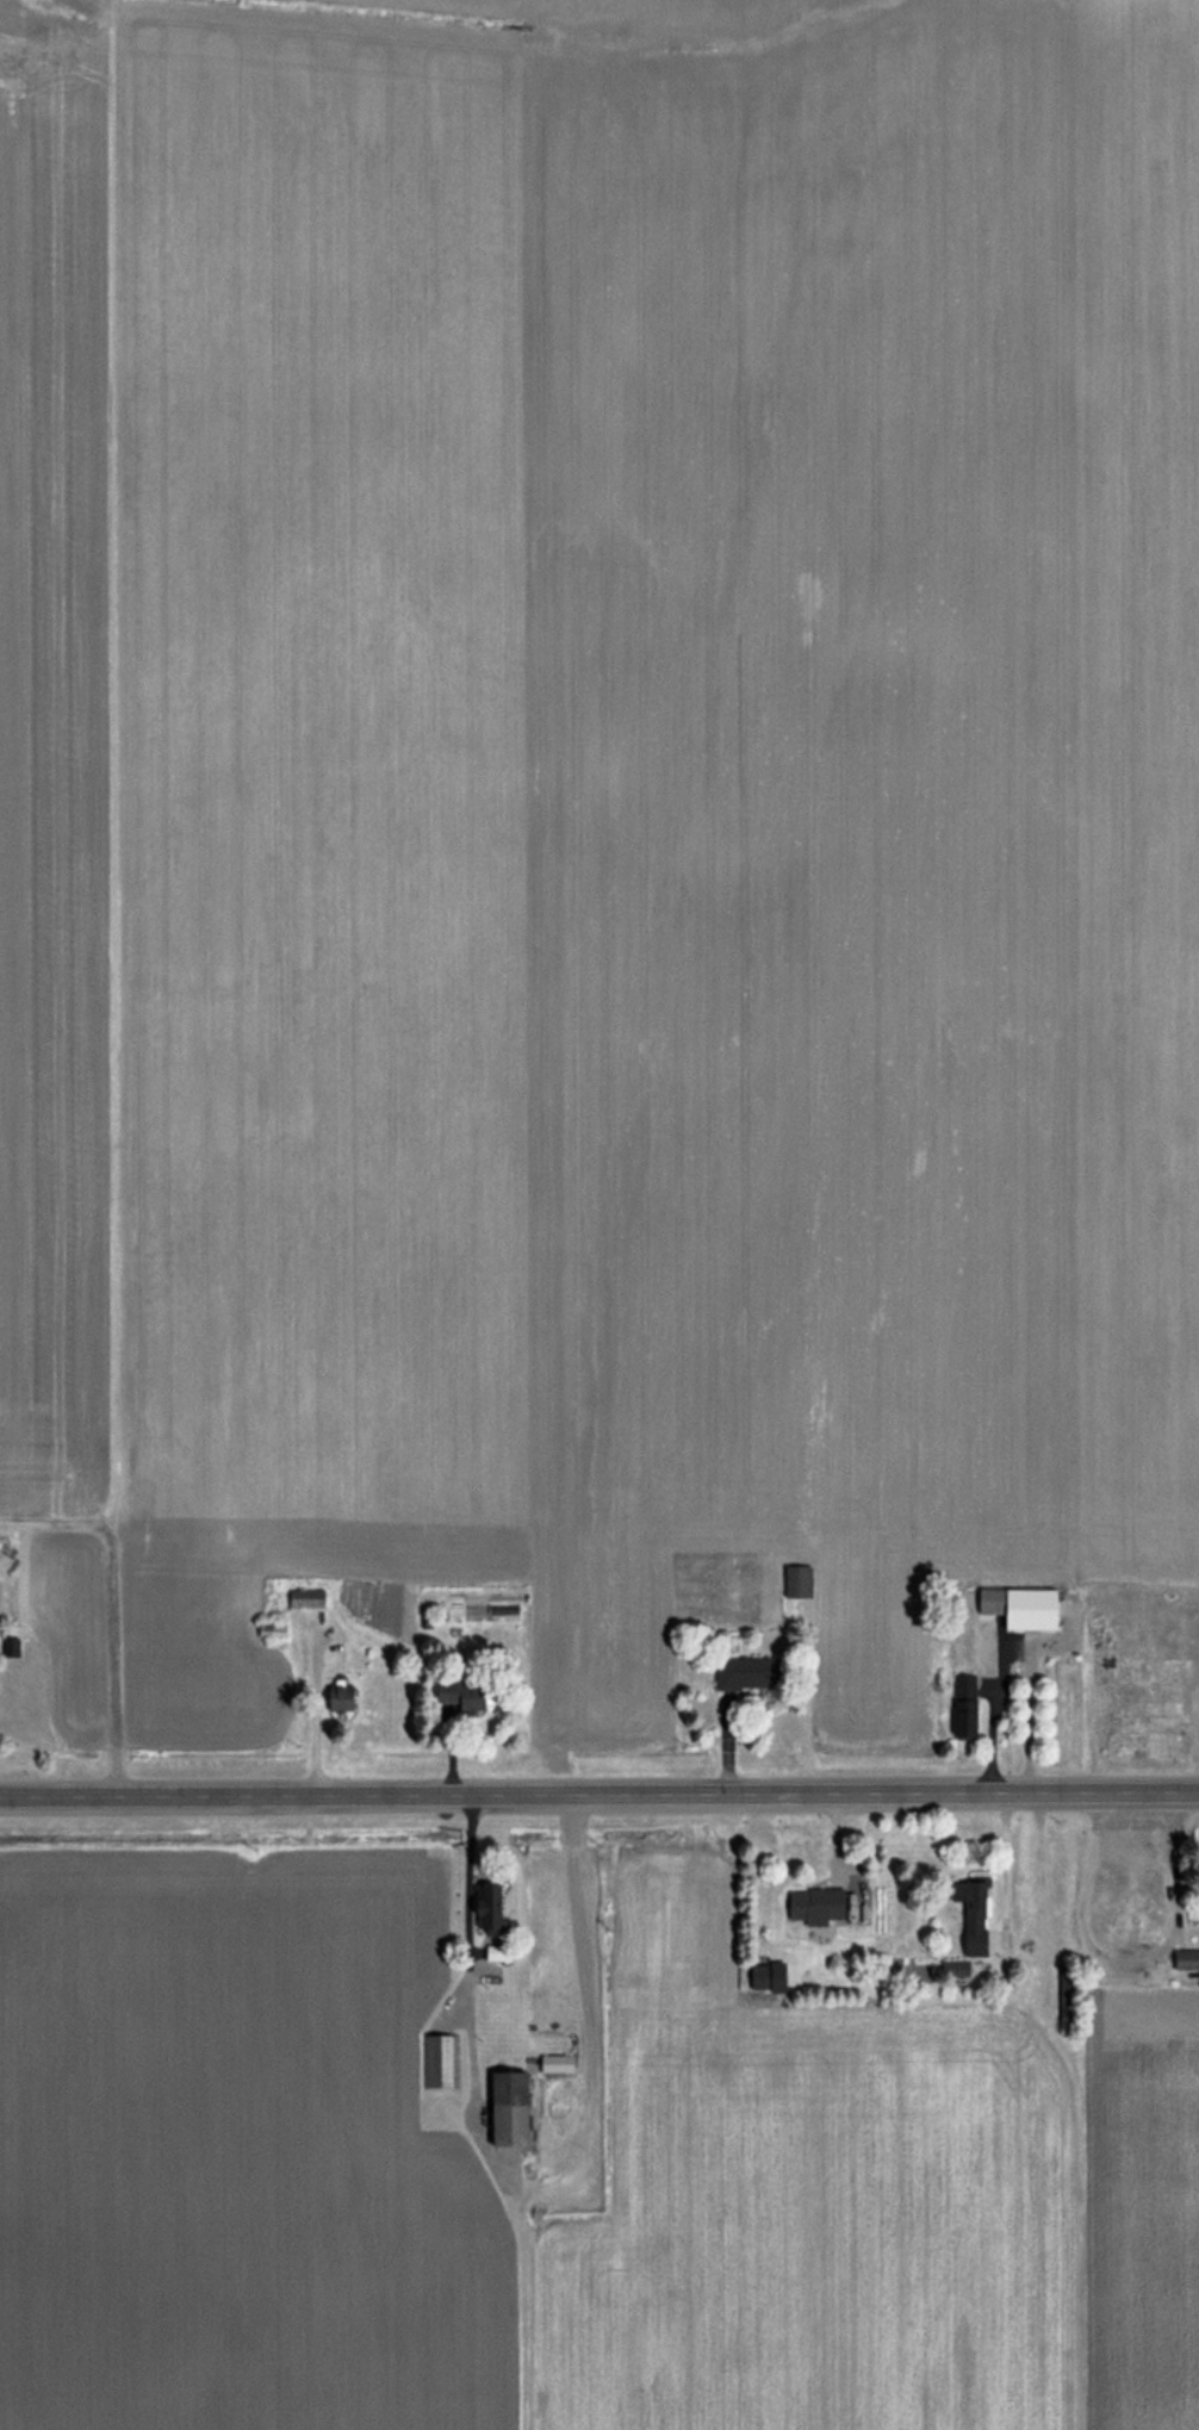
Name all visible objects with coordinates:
building: (795, 1580)
building: (302, 1596)
building: (1018, 1606)
building: (268, 1629)
road: (1011, 1640)
building: (741, 1672)
building: (338, 1697)
building: (454, 1697)
building: (961, 1705)
building: (1141, 1734)
road: (599, 1796)
building: (486, 1906)
building: (813, 1906)
road: (460, 1907)
building: (970, 1915)
building: (495, 1952)
building: (1182, 1959)
building: (440, 2059)
building: (552, 2059)
building: (502, 2109)

